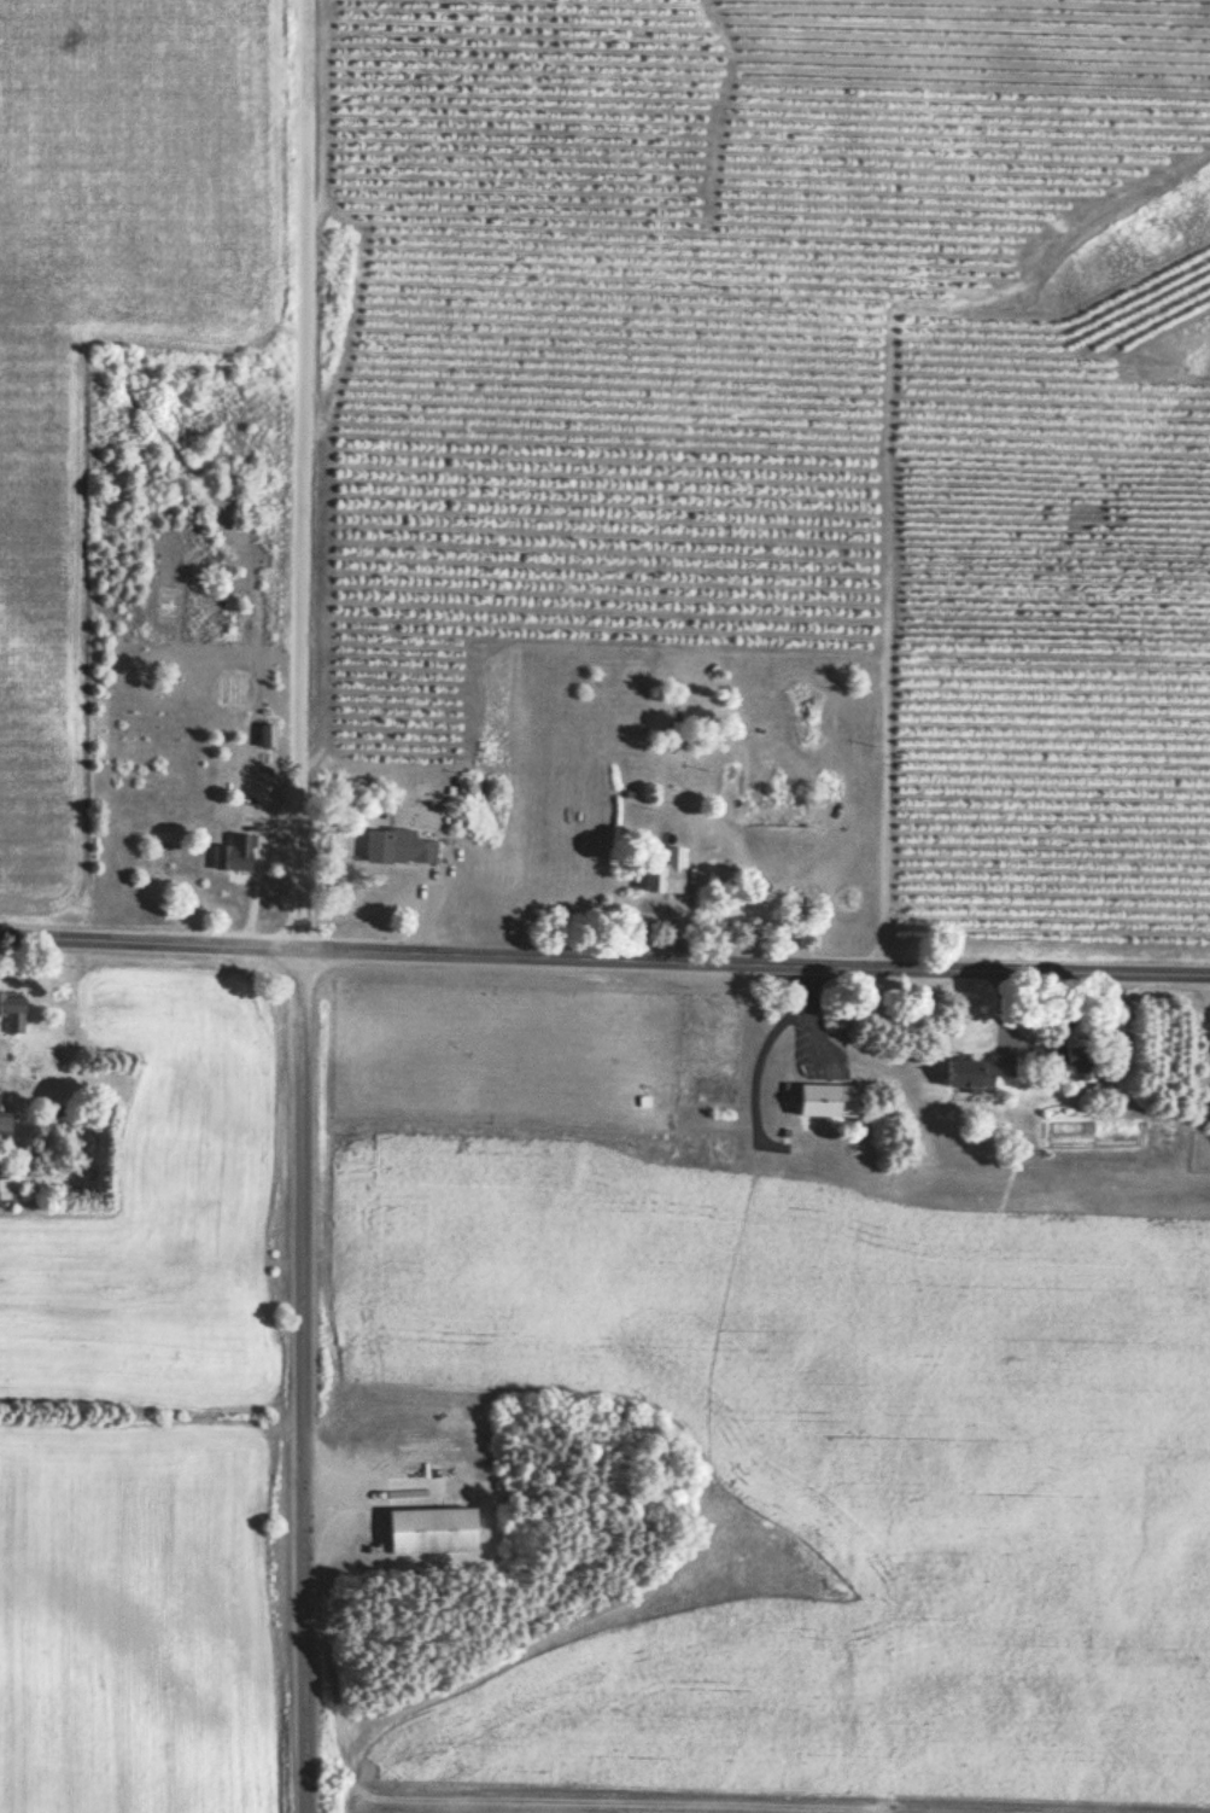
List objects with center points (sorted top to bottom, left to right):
road: (298, 476)
building: (265, 739)
building: (767, 815)
building: (396, 850)
building: (233, 856)
building: (666, 875)
road: (604, 951)
building: (11, 1012)
building: (1076, 1066)
building: (965, 1075)
building: (824, 1101)
building: (10, 1193)
road: (300, 1382)
building: (428, 1532)
building: (630, 1628)

